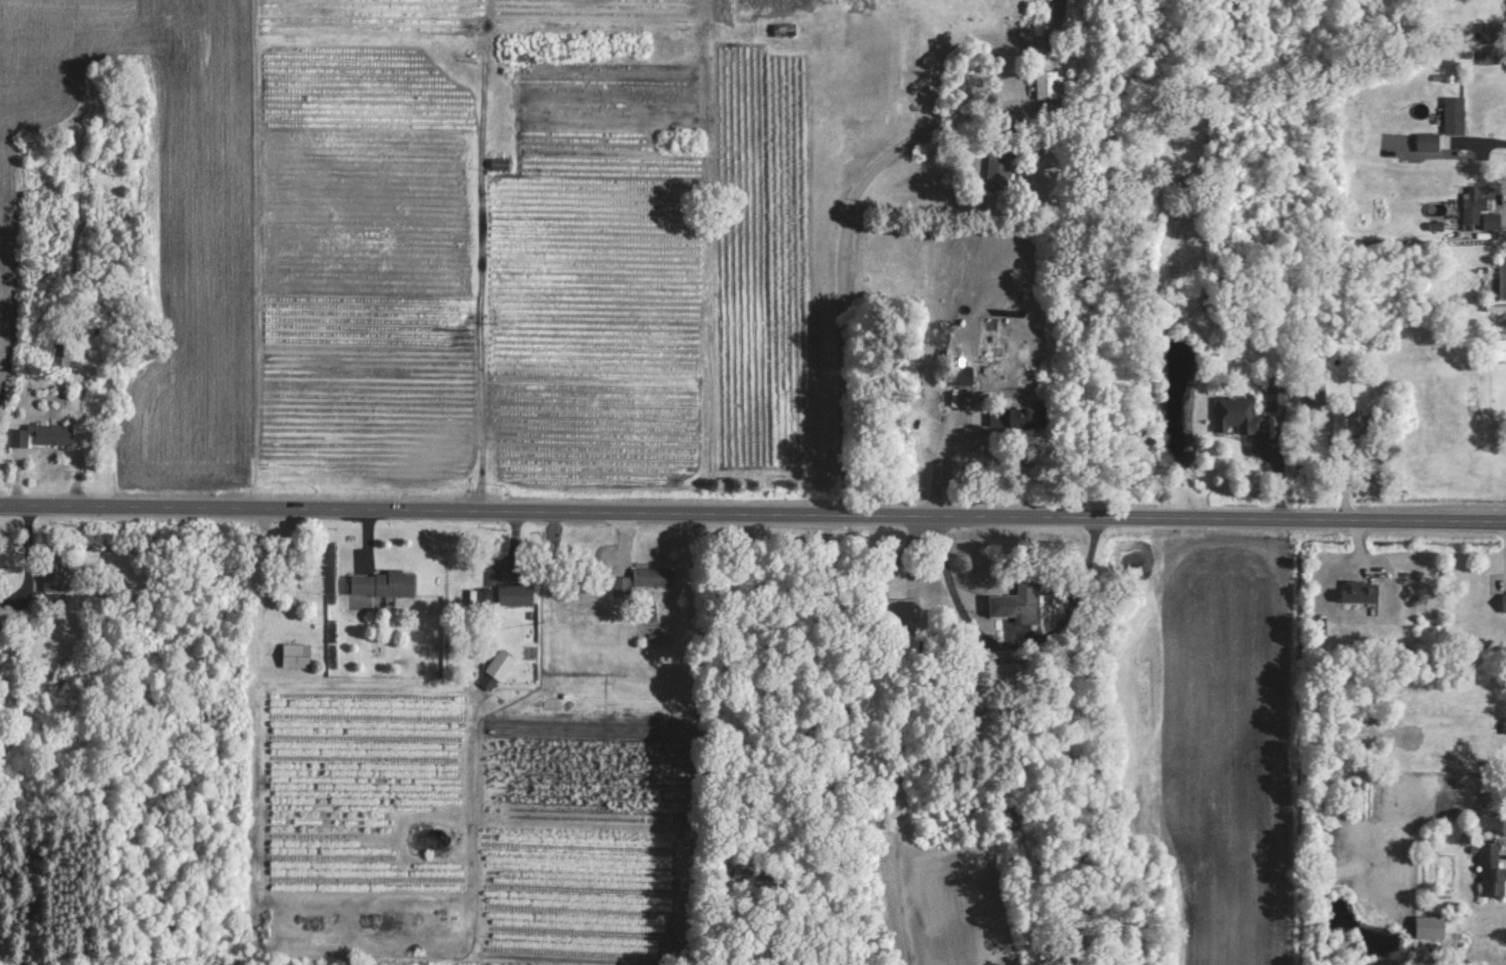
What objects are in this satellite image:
building: (785, 29)
building: (1493, 32)
building: (1052, 84)
building: (1454, 115)
building: (1428, 141)
road: (1477, 155)
building: (499, 164)
building: (999, 168)
building: (1186, 181)
building: (1478, 208)
road: (1496, 226)
road: (851, 277)
building: (1502, 278)
building: (1498, 349)
building: (962, 375)
building: (1315, 393)
building: (1276, 397)
building: (1237, 414)
building: (1007, 416)
building: (1360, 421)
building: (41, 435)
road: (931, 477)
road: (753, 527)
building: (54, 575)
building: (642, 579)
building: (382, 582)
building: (1359, 589)
building: (515, 593)
building: (1014, 599)
building: (1504, 600)
building: (904, 608)
building: (5, 617)
building: (283, 623)
building: (296, 654)
road: (1013, 656)
building: (499, 663)
road: (891, 743)
building: (1492, 870)

